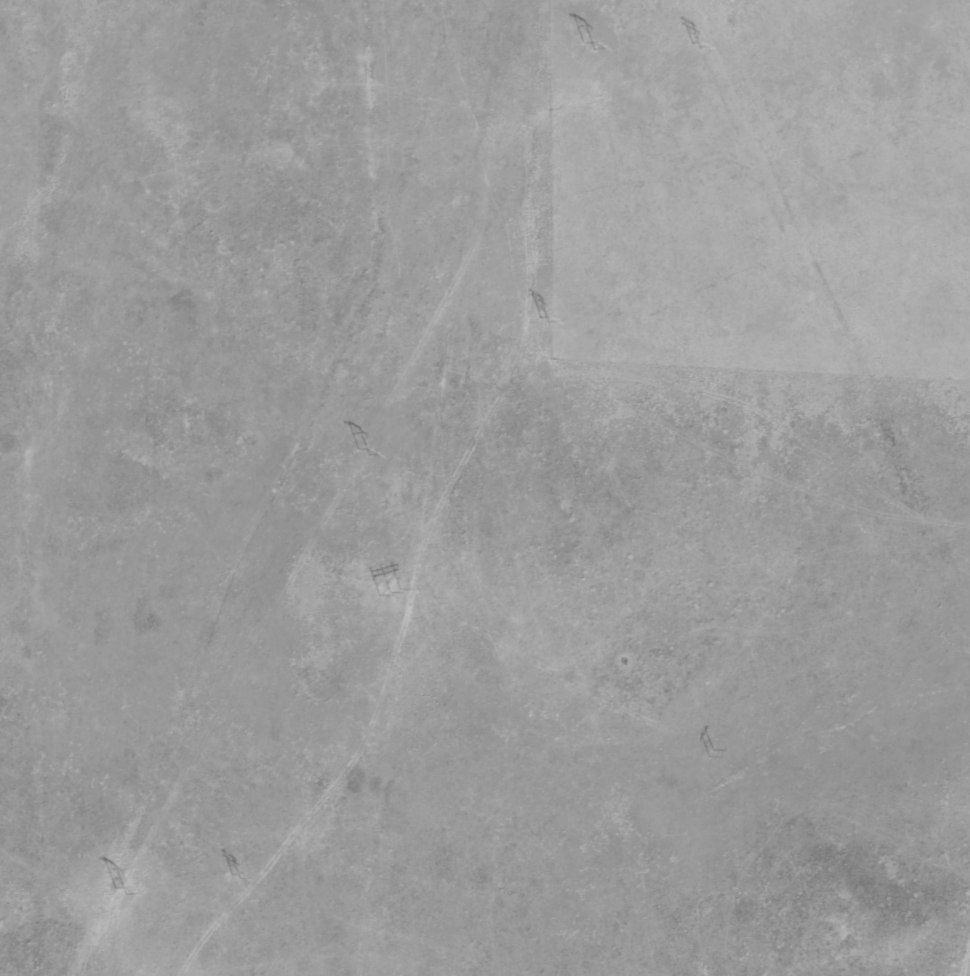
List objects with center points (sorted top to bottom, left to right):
power tower: (692, 32)
power tower: (583, 45)
power tower: (537, 320)
road: (826, 337)
power tower: (360, 454)
road: (231, 491)
power tower: (386, 589)
power tower: (705, 752)
power tower: (232, 877)
power tower: (118, 890)

